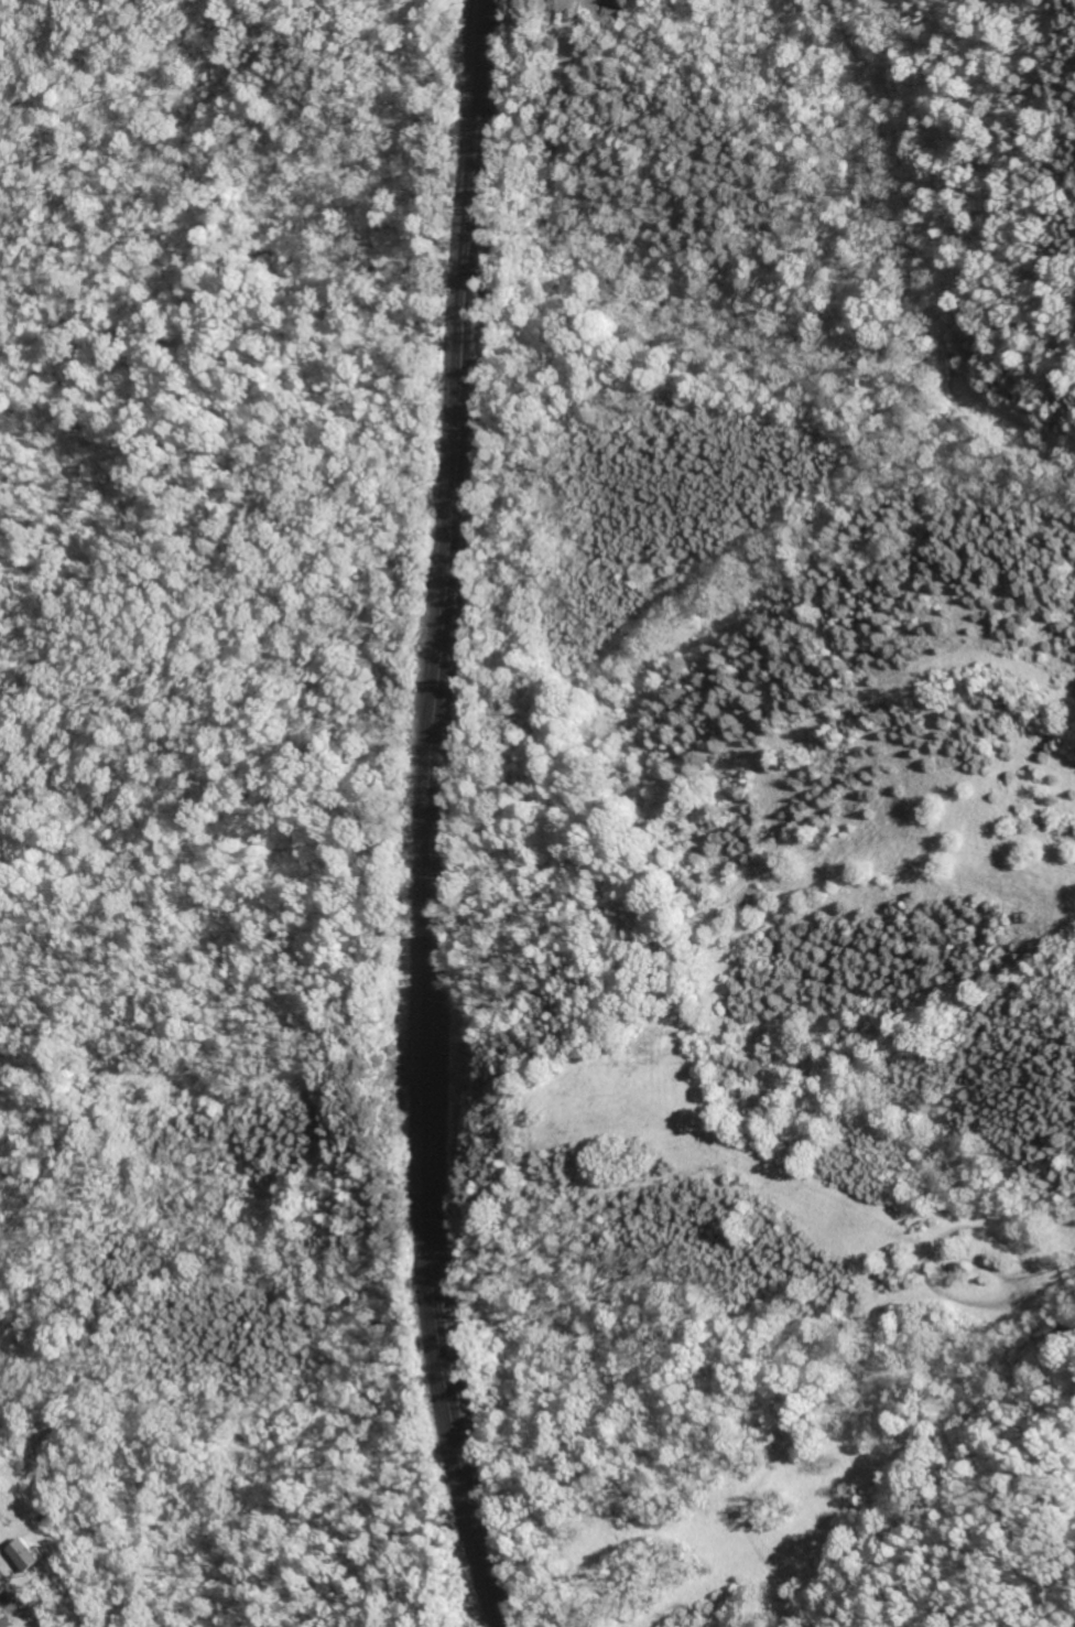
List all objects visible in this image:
railway: (427, 816)
railway: (438, 816)
building: (33, 1553)
building: (1, 1586)
road: (23, 1597)
building: (7, 1620)

